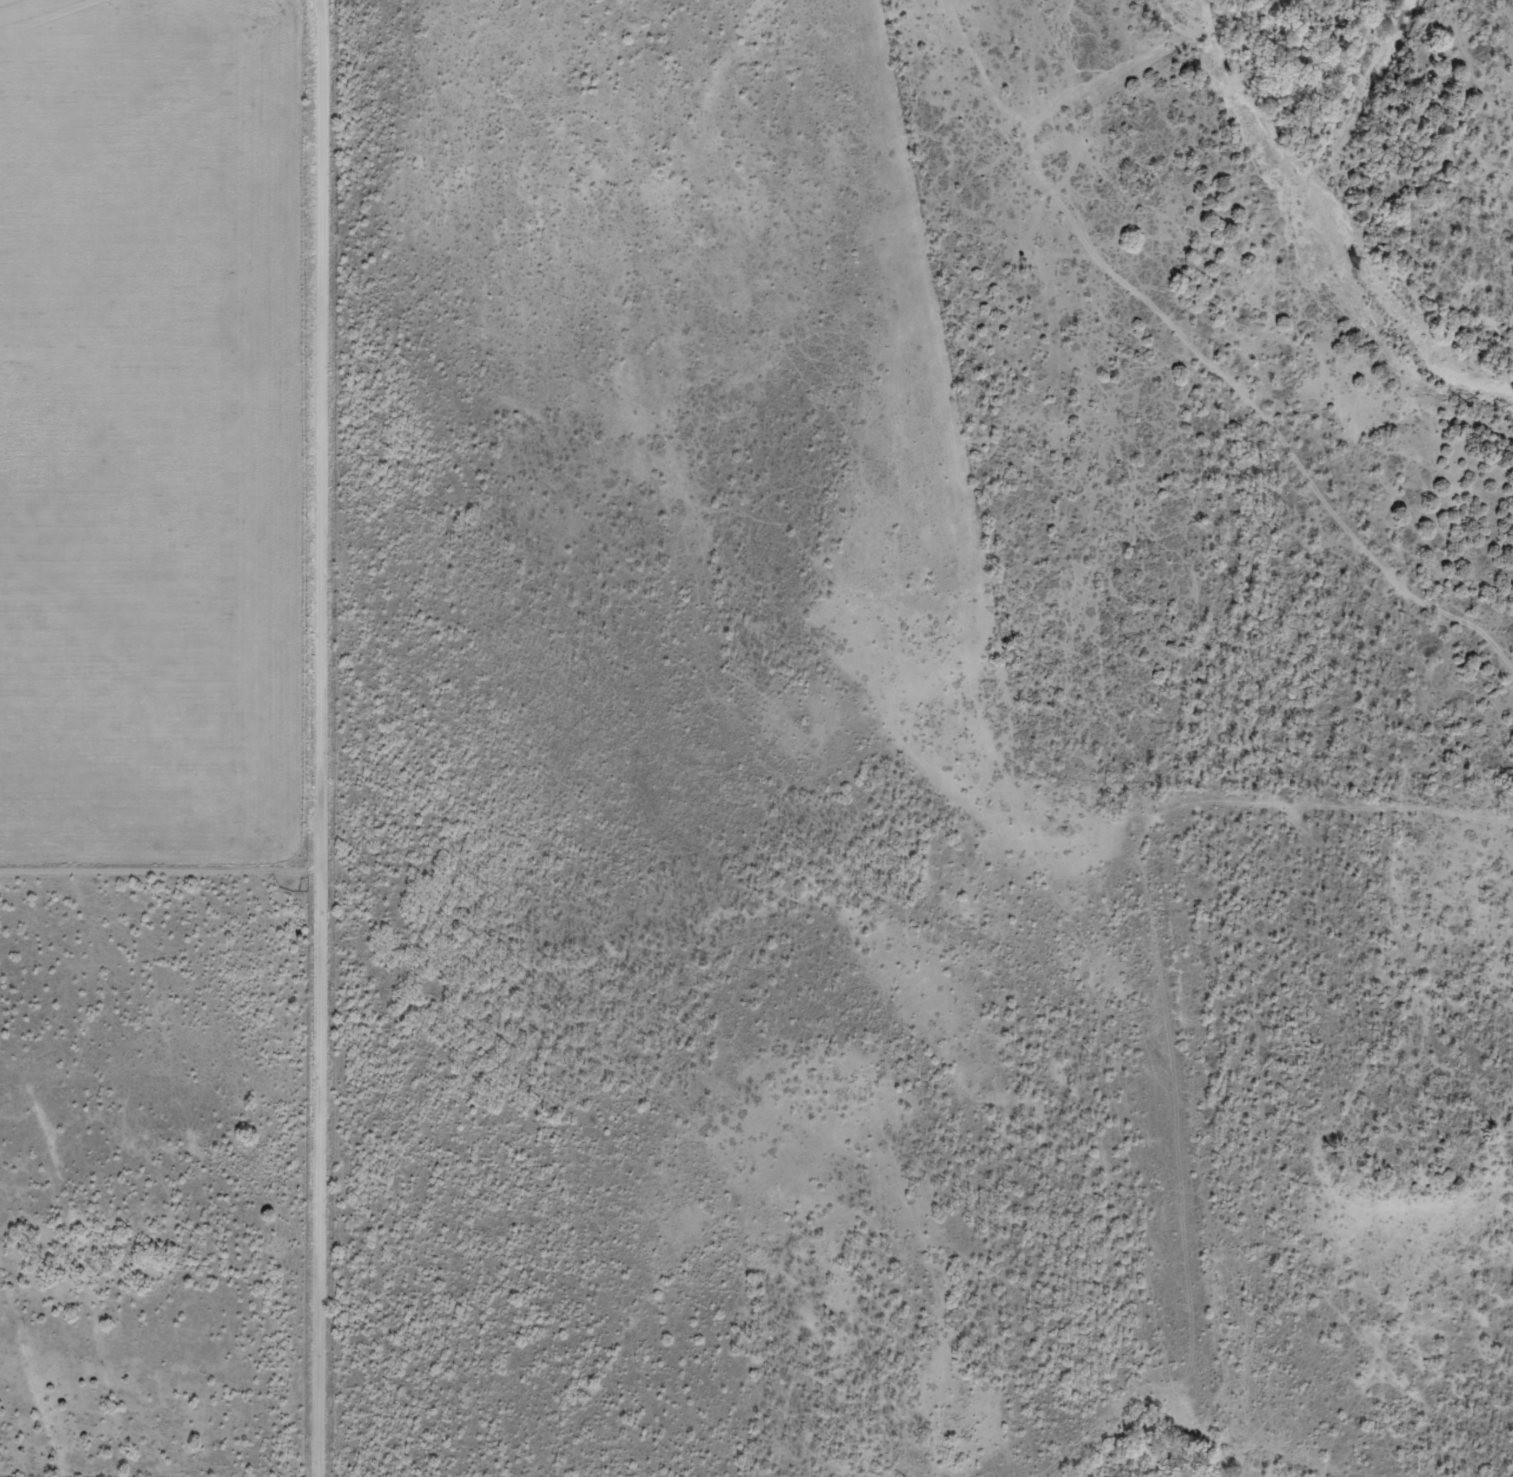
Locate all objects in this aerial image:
road: (333, 738)

